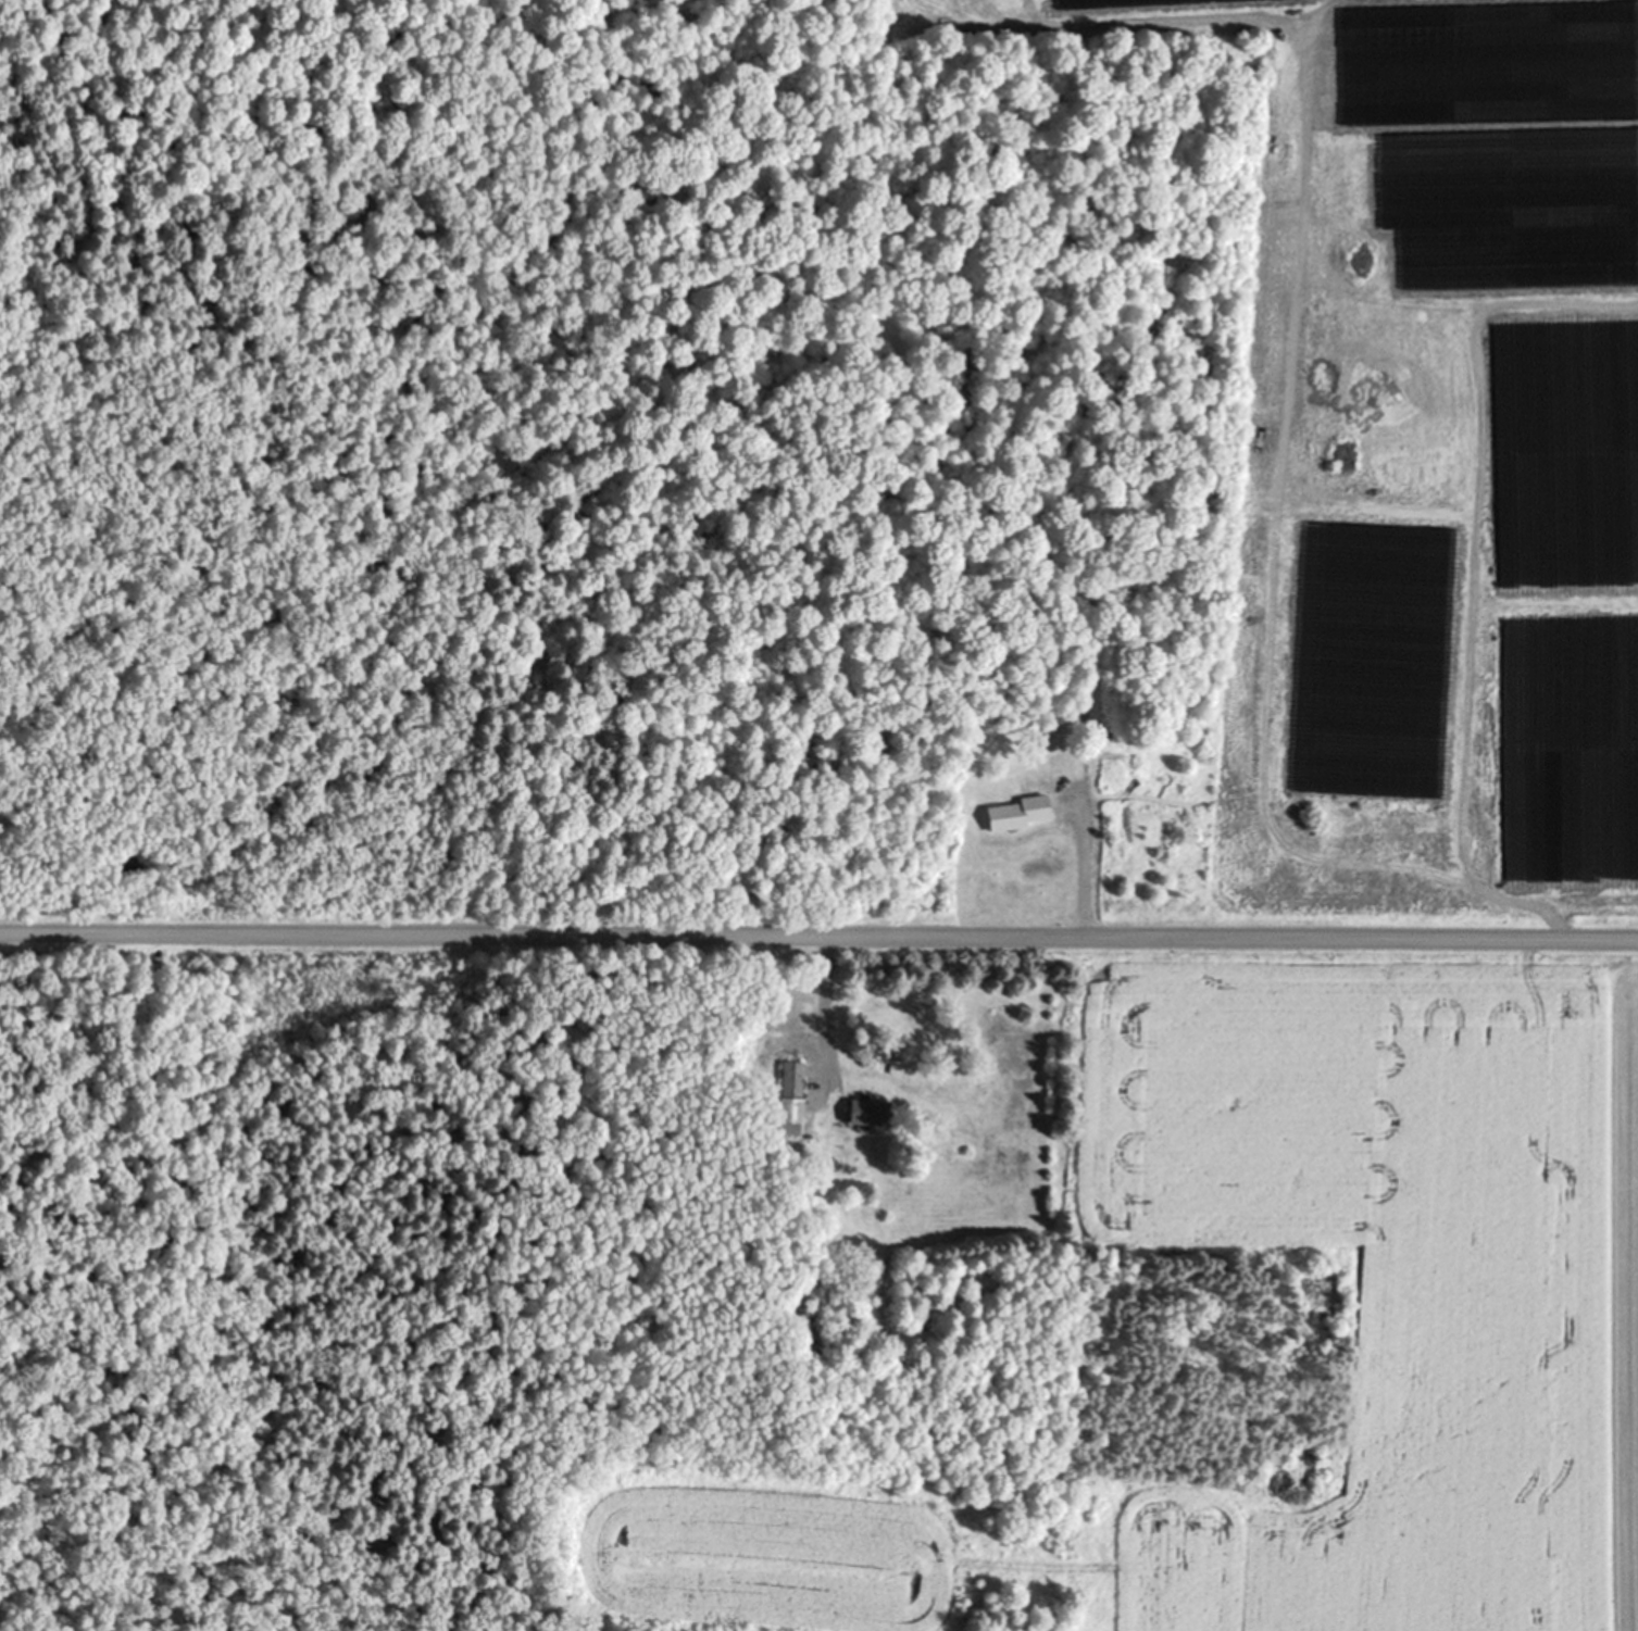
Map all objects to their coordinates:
building: (1014, 815)
road: (818, 936)
building: (789, 1101)
river: (163, 1202)

